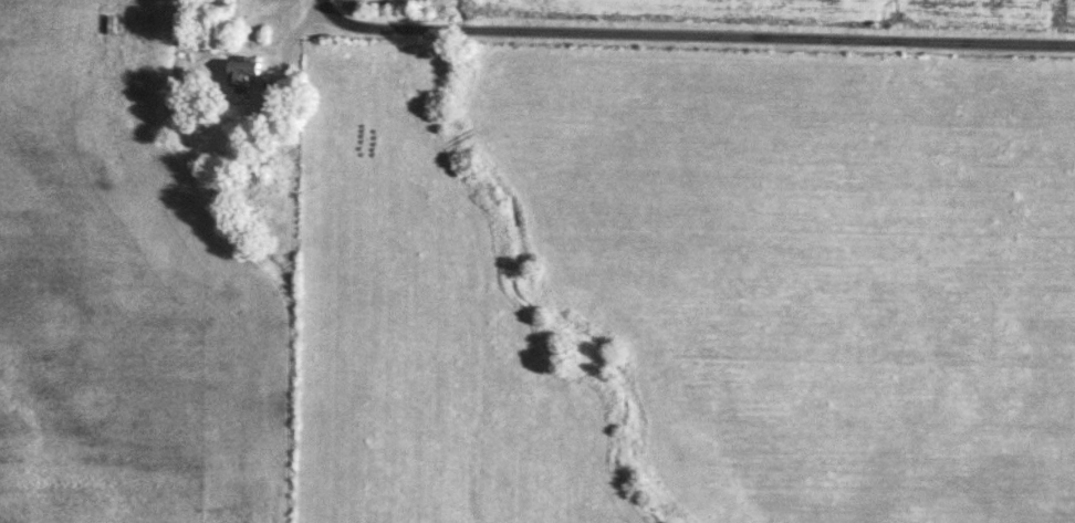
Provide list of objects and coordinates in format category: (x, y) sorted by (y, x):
building: (139, 28)
road: (692, 35)
building: (242, 71)
building: (136, 93)

